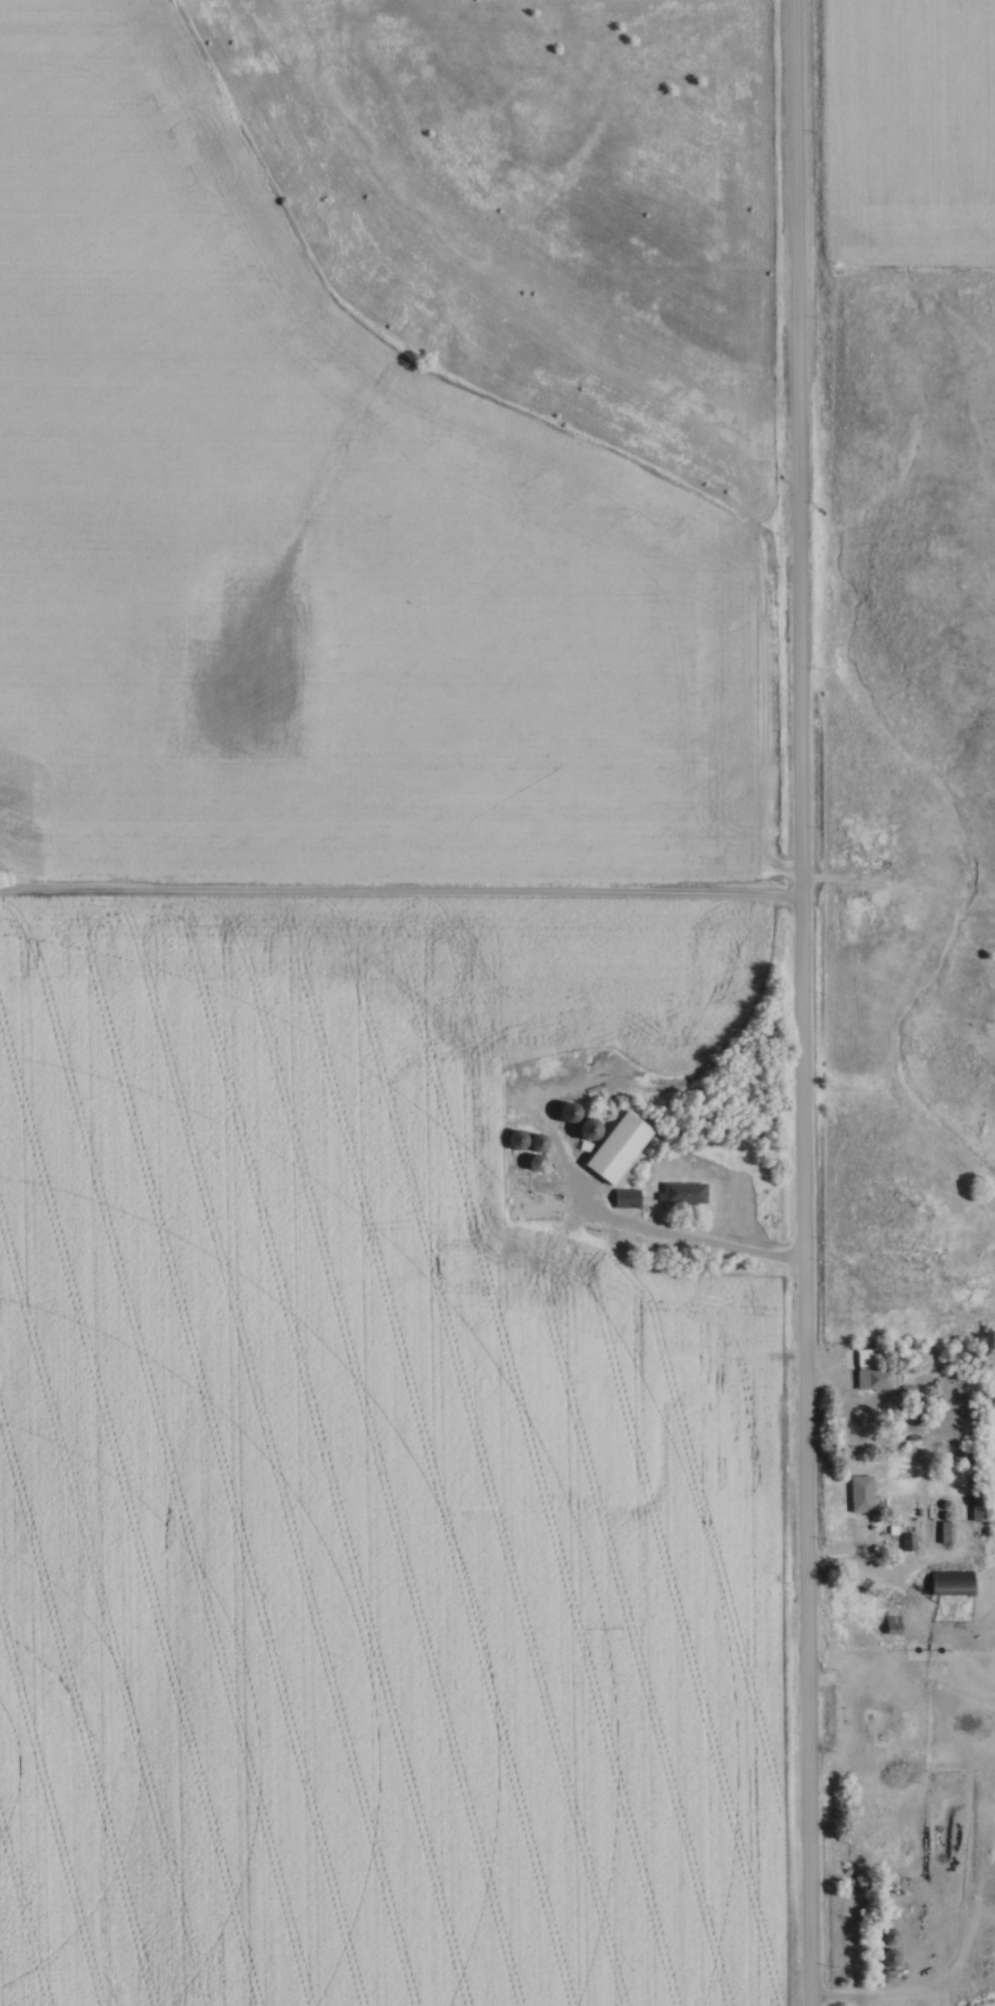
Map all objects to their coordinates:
road: (796, 1003)
building: (620, 1148)
building: (684, 1193)
building: (628, 1198)
road: (709, 1246)
building: (859, 1358)
building: (876, 1379)
building: (968, 1407)
building: (959, 1459)
building: (861, 1494)
building: (979, 1500)
building: (946, 1532)
building: (908, 1542)
building: (952, 1583)
building: (893, 1622)
building: (979, 1660)
building: (890, 1948)

